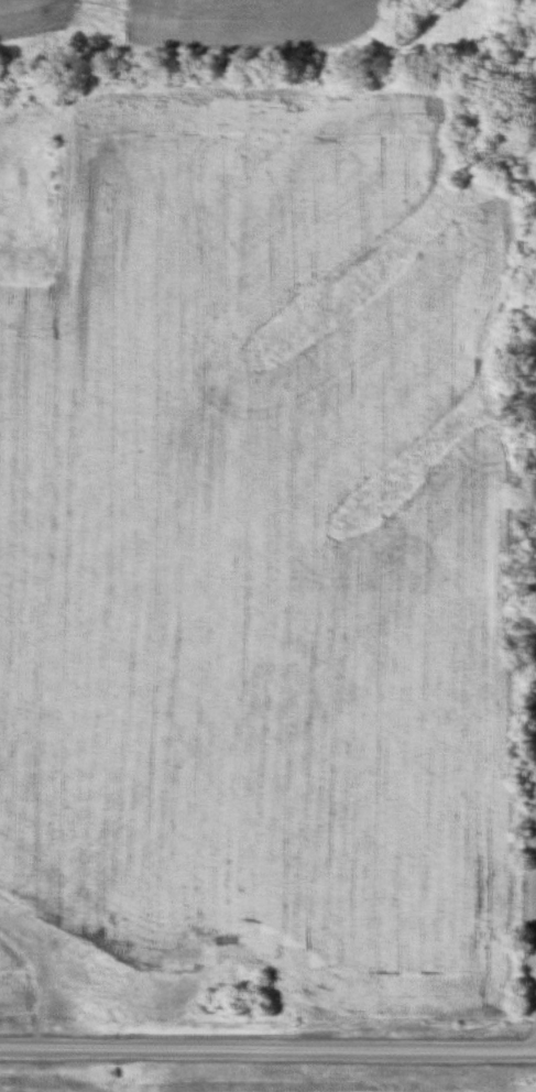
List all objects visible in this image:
road: (267, 1053)

